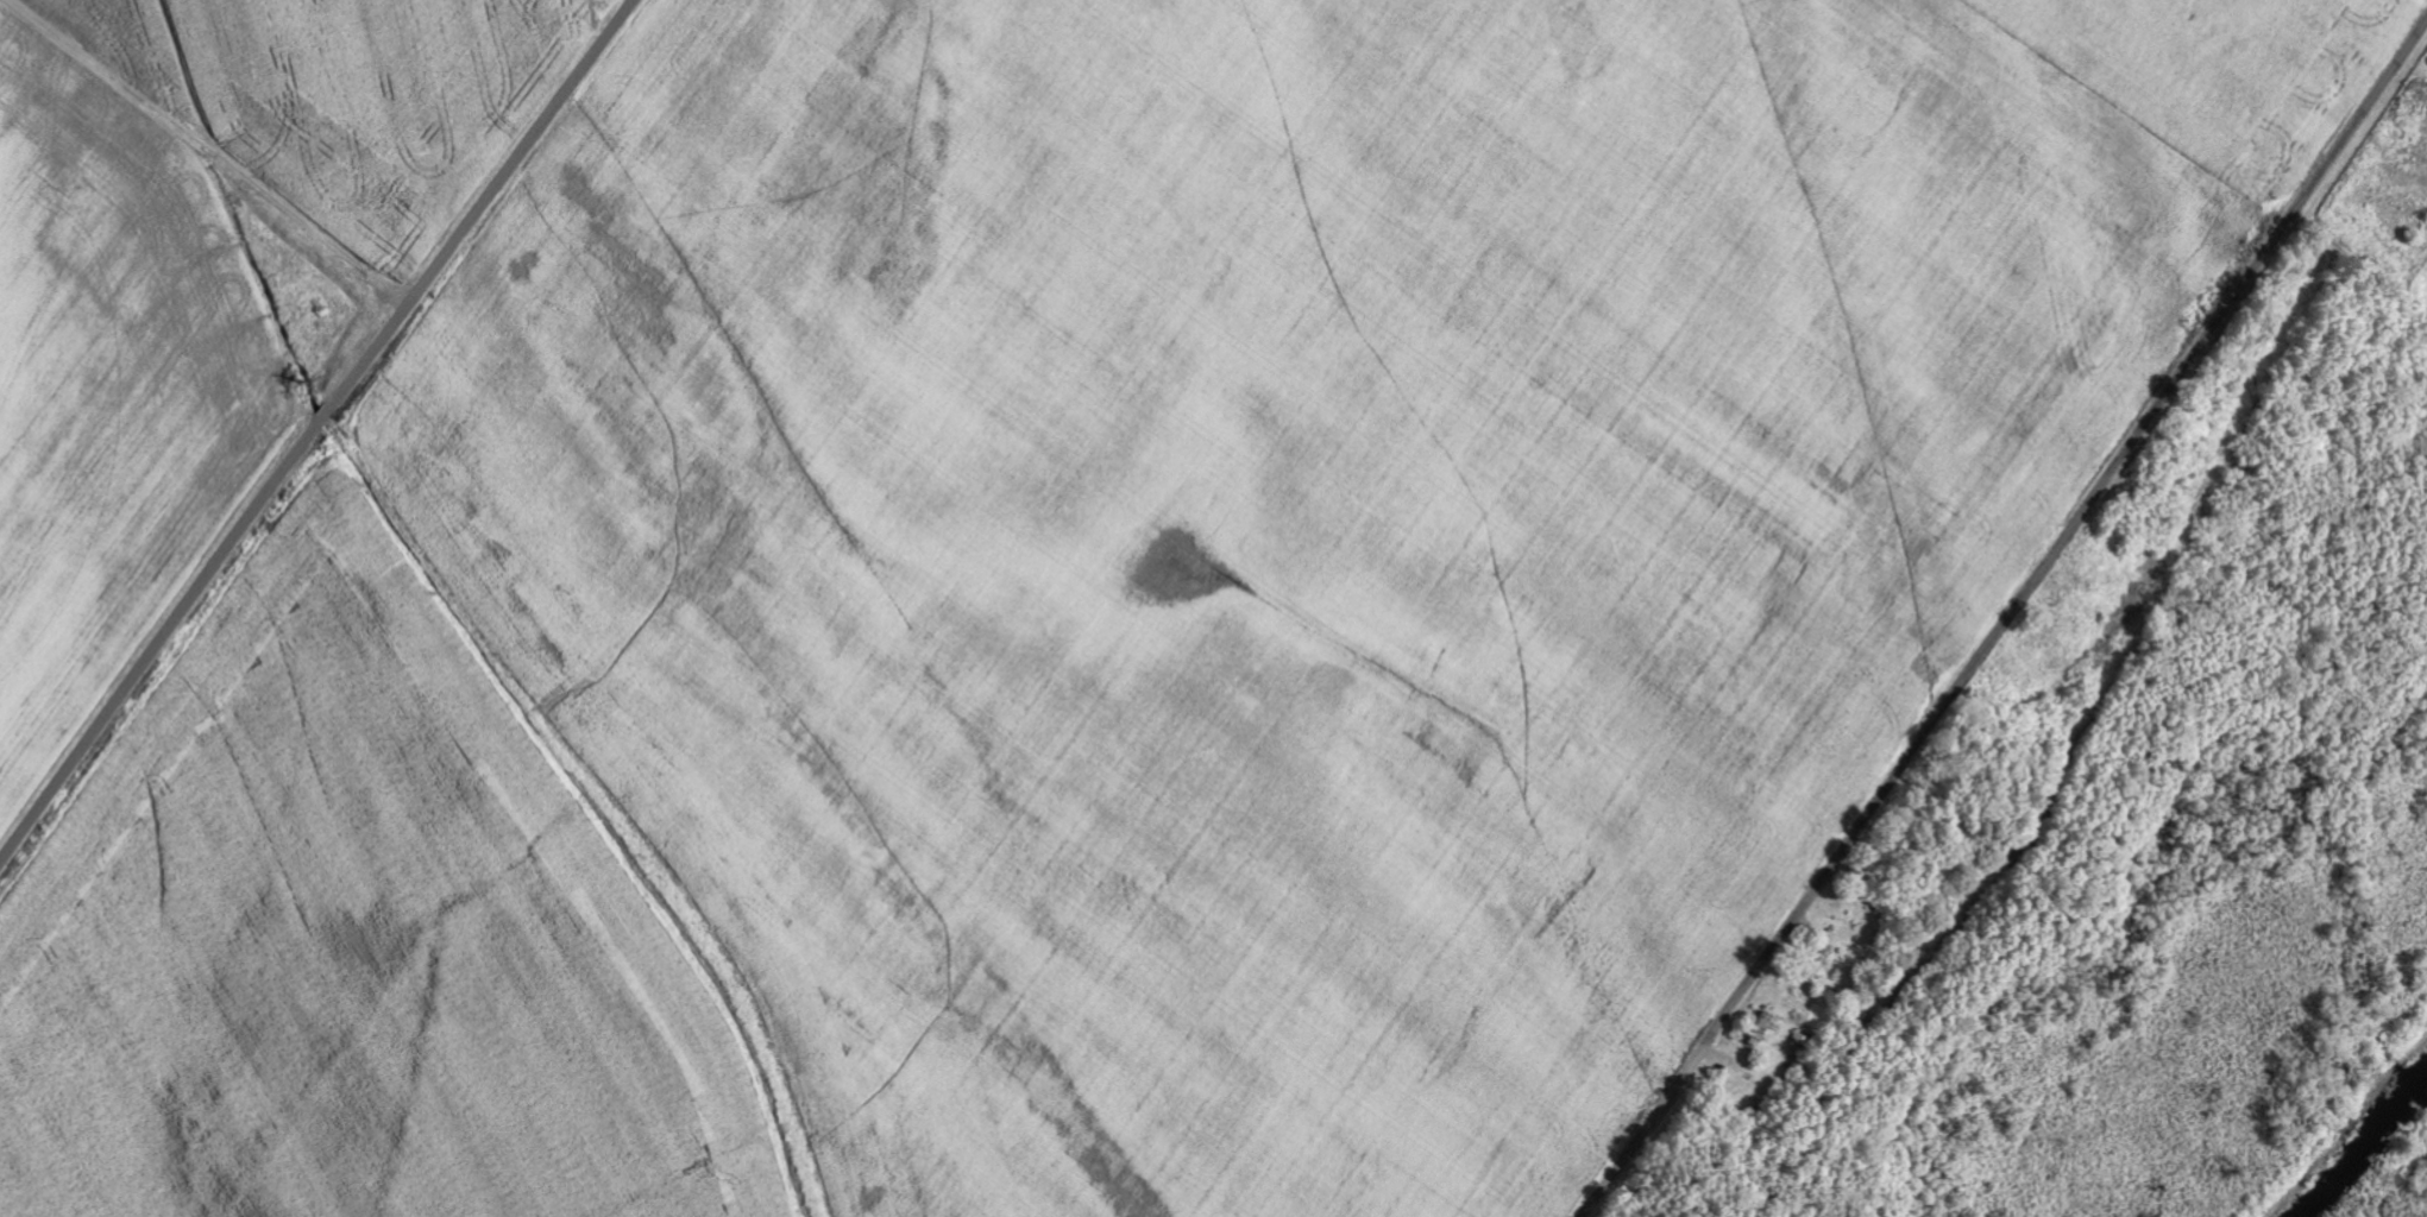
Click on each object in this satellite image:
road: (213, 145)
road: (313, 428)
road: (2005, 622)

